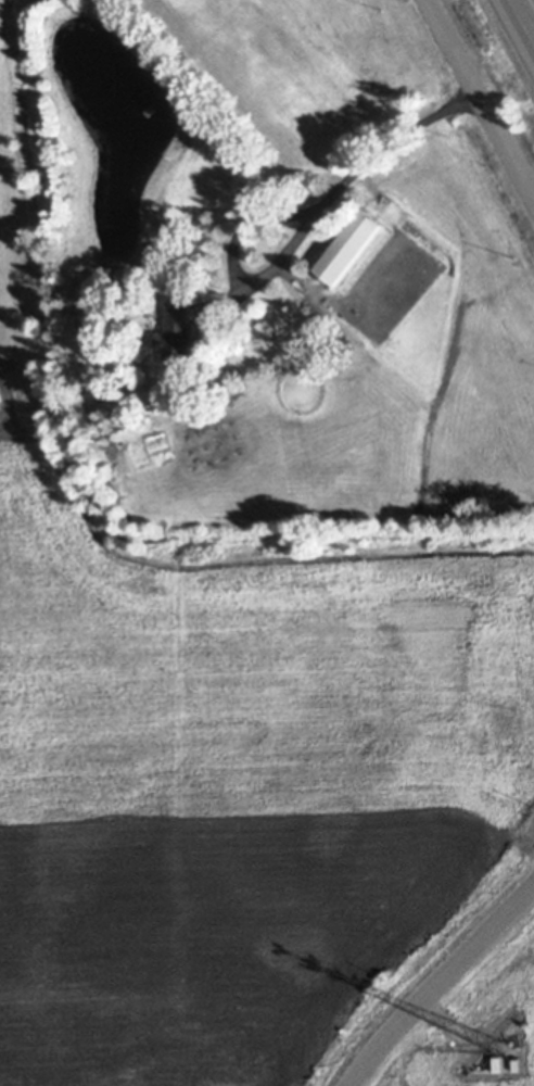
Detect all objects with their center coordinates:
road: (521, 22)
road: (480, 99)
building: (170, 132)
road: (361, 156)
building: (351, 247)
building: (153, 316)
building: (157, 323)
building: (177, 332)
road: (441, 985)
building: (514, 1039)
building: (500, 1063)
building: (518, 1065)

